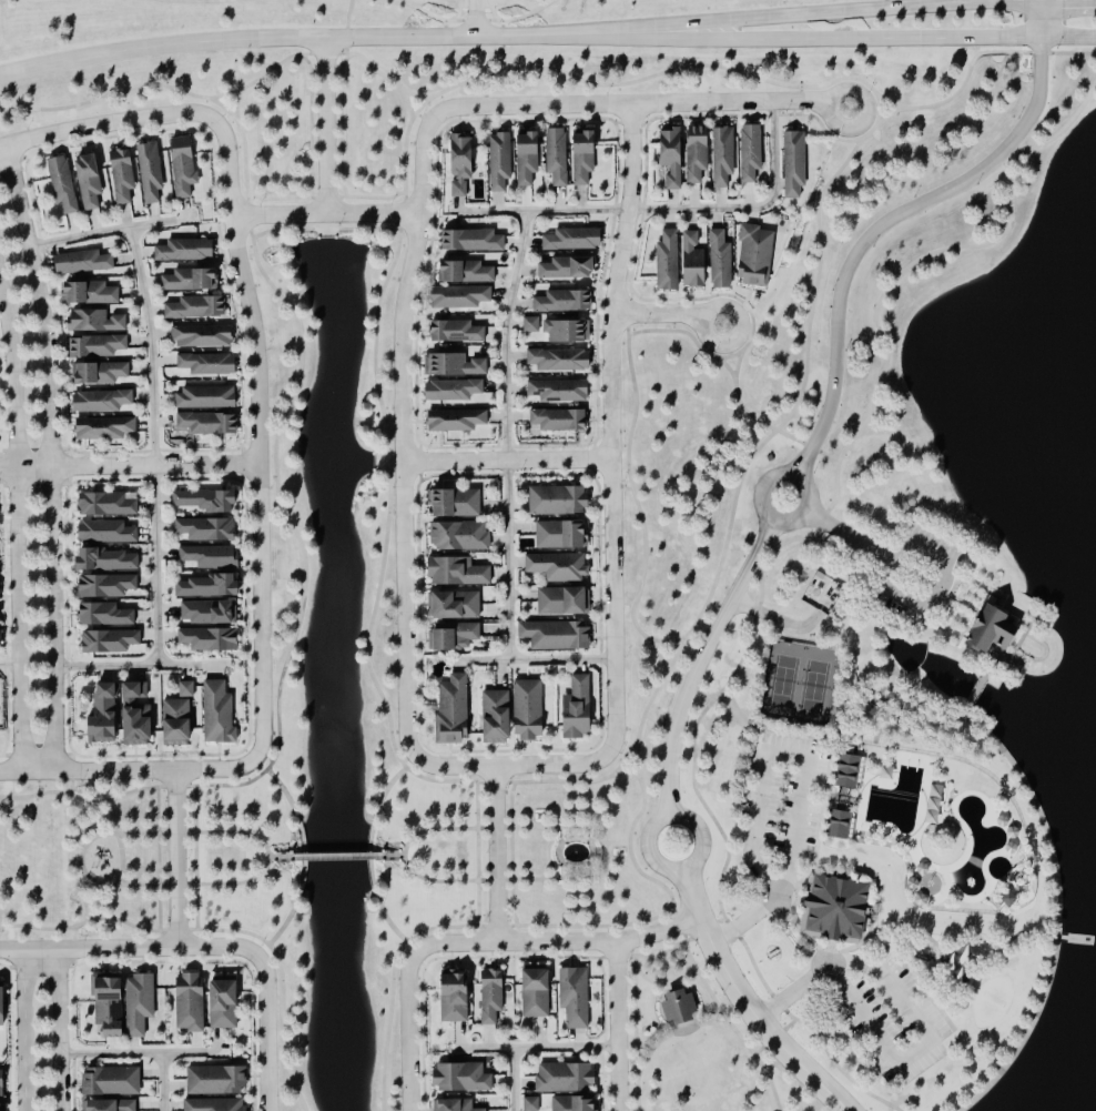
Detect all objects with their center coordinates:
road: (832, 10)
road: (437, 17)
road: (515, 17)
road: (348, 18)
road: (475, 18)
road: (882, 36)
road: (333, 38)
road: (344, 52)
road: (376, 69)
road: (607, 83)
road: (168, 85)
road: (417, 94)
road: (859, 94)
road: (236, 101)
road: (408, 102)
road: (223, 105)
road: (631, 105)
road: (879, 105)
road: (819, 121)
road: (311, 122)
road: (341, 123)
road: (108, 124)
road: (327, 127)
building: (751, 152)
building: (698, 153)
building: (585, 155)
building: (527, 156)
building: (557, 156)
building: (671, 156)
building: (723, 156)
building: (499, 161)
building: (794, 163)
road: (245, 164)
building: (461, 164)
building: (183, 165)
building: (150, 172)
building: (122, 175)
building: (89, 181)
building: (62, 183)
road: (325, 196)
road: (662, 209)
road: (327, 216)
road: (895, 216)
road: (325, 228)
road: (109, 230)
building: (574, 240)
building: (471, 241)
building: (185, 250)
building: (755, 255)
building: (668, 261)
building: (708, 261)
building: (83, 262)
building: (568, 269)
building: (467, 272)
building: (190, 280)
building: (89, 293)
building: (460, 296)
building: (565, 301)
road: (741, 305)
building: (196, 307)
road: (669, 315)
building: (95, 321)
building: (530, 324)
building: (567, 331)
building: (456, 332)
building: (202, 336)
road: (727, 340)
building: (97, 346)
road: (708, 352)
building: (559, 360)
road: (737, 363)
building: (209, 364)
building: (455, 365)
road: (728, 365)
building: (100, 373)
building: (454, 390)
building: (558, 391)
building: (205, 398)
building: (101, 401)
building: (559, 420)
building: (456, 421)
building: (209, 423)
road: (612, 427)
road: (775, 427)
building: (103, 428)
road: (404, 433)
road: (509, 435)
road: (767, 437)
road: (260, 440)
road: (156, 445)
road: (54, 456)
road: (509, 462)
road: (130, 467)
road: (631, 479)
building: (559, 499)
building: (205, 501)
building: (458, 503)
road: (760, 503)
building: (106, 504)
road: (20, 526)
building: (206, 529)
building: (106, 533)
road: (296, 533)
building: (561, 535)
building: (460, 536)
building: (211, 556)
building: (110, 560)
building: (559, 565)
building: (458, 572)
building: (106, 586)
building: (211, 586)
road: (890, 592)
building: (564, 602)
building: (454, 605)
road: (373, 610)
building: (209, 613)
building: (104, 615)
building: (996, 632)
building: (0, 635)
building: (557, 635)
building: (454, 636)
building: (210, 639)
road: (668, 639)
building: (110, 642)
road: (660, 655)
road: (536, 660)
road: (700, 661)
road: (11, 665)
road: (141, 667)
park: (795, 680)
building: (185, 689)
building: (578, 708)
building: (453, 710)
building: (529, 710)
building: (217, 714)
building: (104, 716)
building: (138, 716)
building: (497, 717)
building: (177, 721)
road: (626, 757)
road: (511, 766)
building: (850, 771)
road: (129, 772)
road: (763, 776)
road: (72, 784)
road: (132, 789)
parking lot: (780, 795)
road: (575, 802)
road: (564, 825)
building: (841, 825)
road: (558, 851)
road: (477, 852)
road: (511, 852)
road: (337, 854)
road: (369, 854)
road: (393, 854)
road: (404, 854)
road: (281, 855)
road: (304, 855)
road: (498, 855)
road: (159, 856)
road: (268, 856)
road: (195, 857)
road: (80, 859)
road: (122, 859)
road: (176, 859)
road: (654, 866)
park: (872, 866)
road: (536, 877)
road: (576, 900)
building: (835, 910)
road: (134, 925)
road: (454, 925)
road: (73, 937)
pier: (1074, 938)
road: (560, 942)
road: (130, 947)
road: (663, 951)
road: (282, 980)
road: (668, 984)
building: (536, 992)
building: (491, 997)
building: (574, 997)
building: (455, 998)
park: (993, 1000)
building: (190, 1001)
road: (747, 1002)
building: (2, 1004)
building: (123, 1004)
building: (224, 1004)
building: (678, 1004)
road: (716, 1013)
road: (728, 1019)
parking lot: (894, 1019)
road: (619, 1026)
road: (26, 1030)
road: (59, 1030)
road: (408, 1030)
road: (270, 1031)
road: (677, 1031)
road: (635, 1032)
park: (694, 1041)
road: (643, 1044)
road: (764, 1044)
road: (539, 1047)
road: (143, 1056)
road: (893, 1061)
building: (463, 1077)
building: (566, 1077)
road: (515, 1079)
building: (111, 1080)
building: (216, 1080)
road: (164, 1083)
building: (530, 1103)
building: (575, 1103)
building: (215, 1104)
building: (456, 1104)
building: (109, 1105)
building: (2, 1107)

